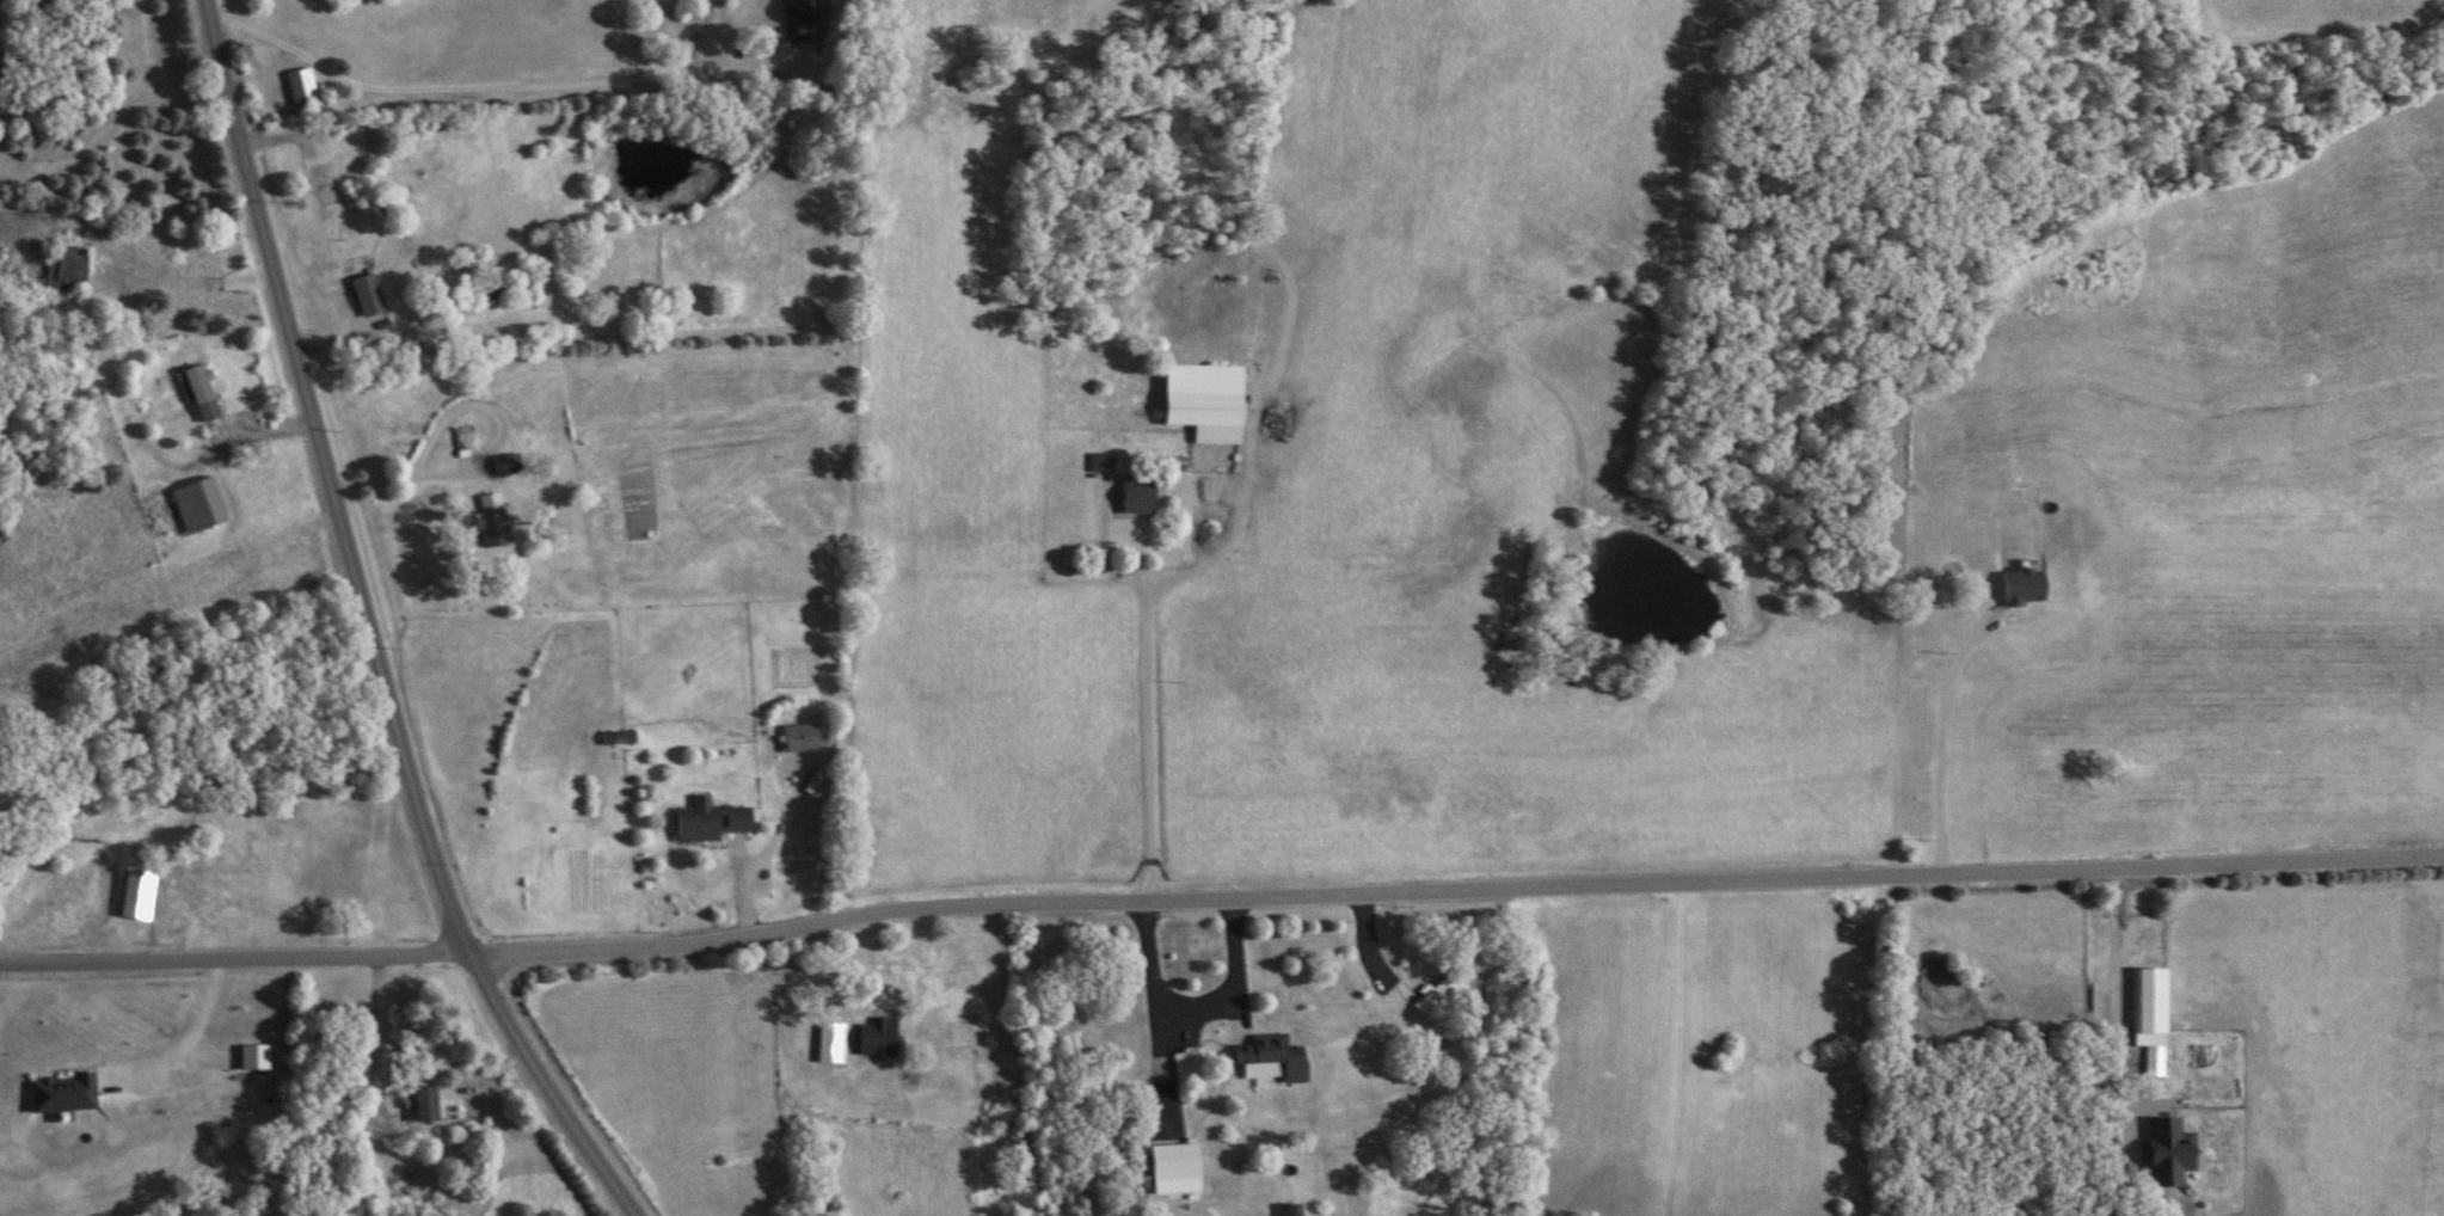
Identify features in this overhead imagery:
building: (794, 20)
building: (295, 85)
road: (490, 87)
road: (104, 135)
building: (319, 184)
building: (61, 266)
building: (361, 295)
building: (194, 391)
building: (1210, 418)
road: (401, 481)
building: (1131, 496)
building: (191, 504)
building: (484, 520)
road: (368, 632)
road: (1943, 736)
building: (799, 737)
road: (1152, 744)
building: (707, 819)
road: (1453, 890)
building: (128, 892)
building: (211, 917)
road: (232, 950)
road: (2113, 999)
building: (2139, 1005)
road: (1197, 1011)
building: (873, 1037)
building: (1265, 1057)
building: (1185, 1063)
building: (1002, 1070)
road: (18, 1082)
building: (419, 1103)
building: (2157, 1151)
building: (1285, 1209)

